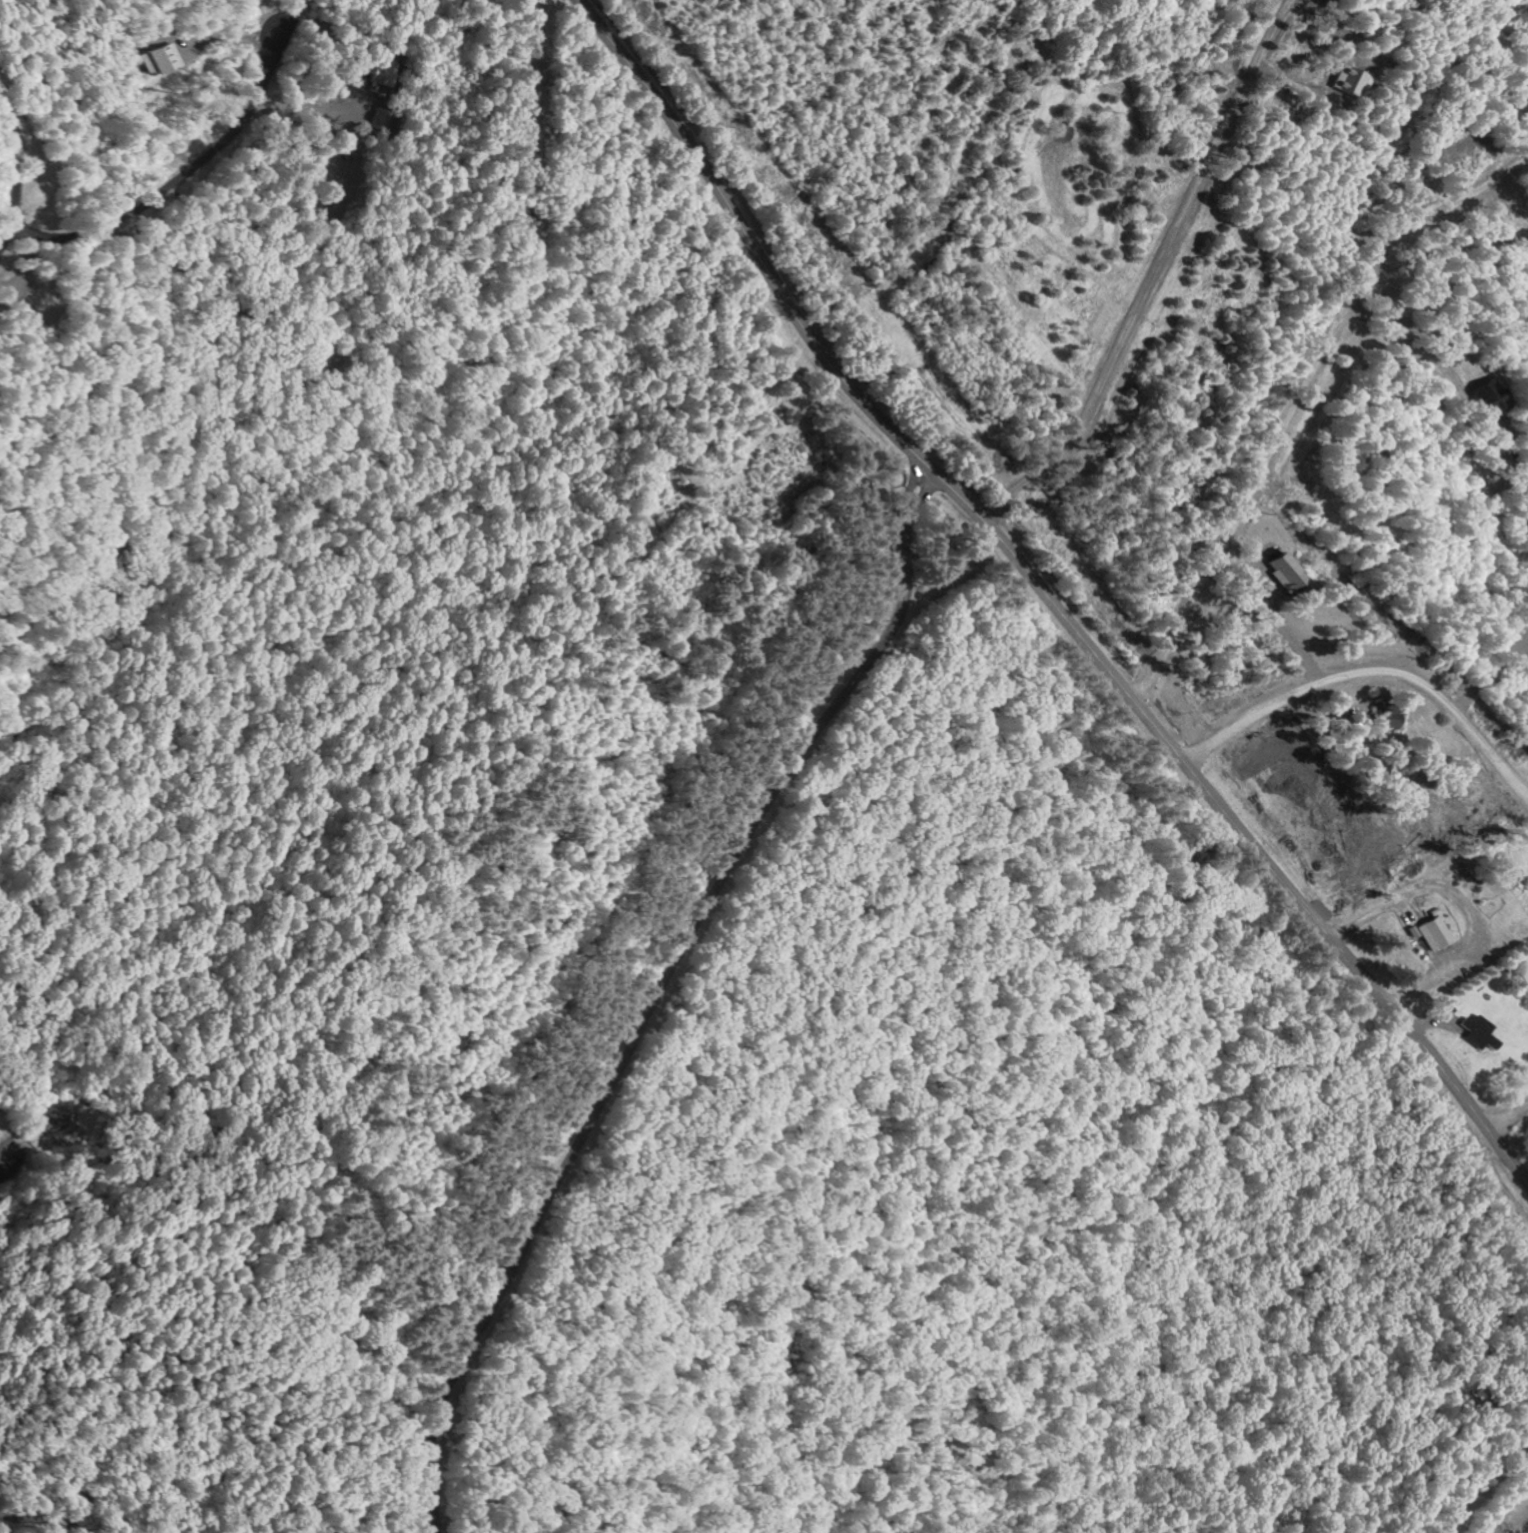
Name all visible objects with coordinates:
building: (167, 60)
building: (1484, 398)
building: (1283, 568)
road: (1047, 593)
road: (1370, 670)
building: (1382, 716)
building: (1432, 932)
road: (657, 989)
road: (1508, 1113)
road: (4, 1160)
park: (997, 1188)
road: (42, 1518)

